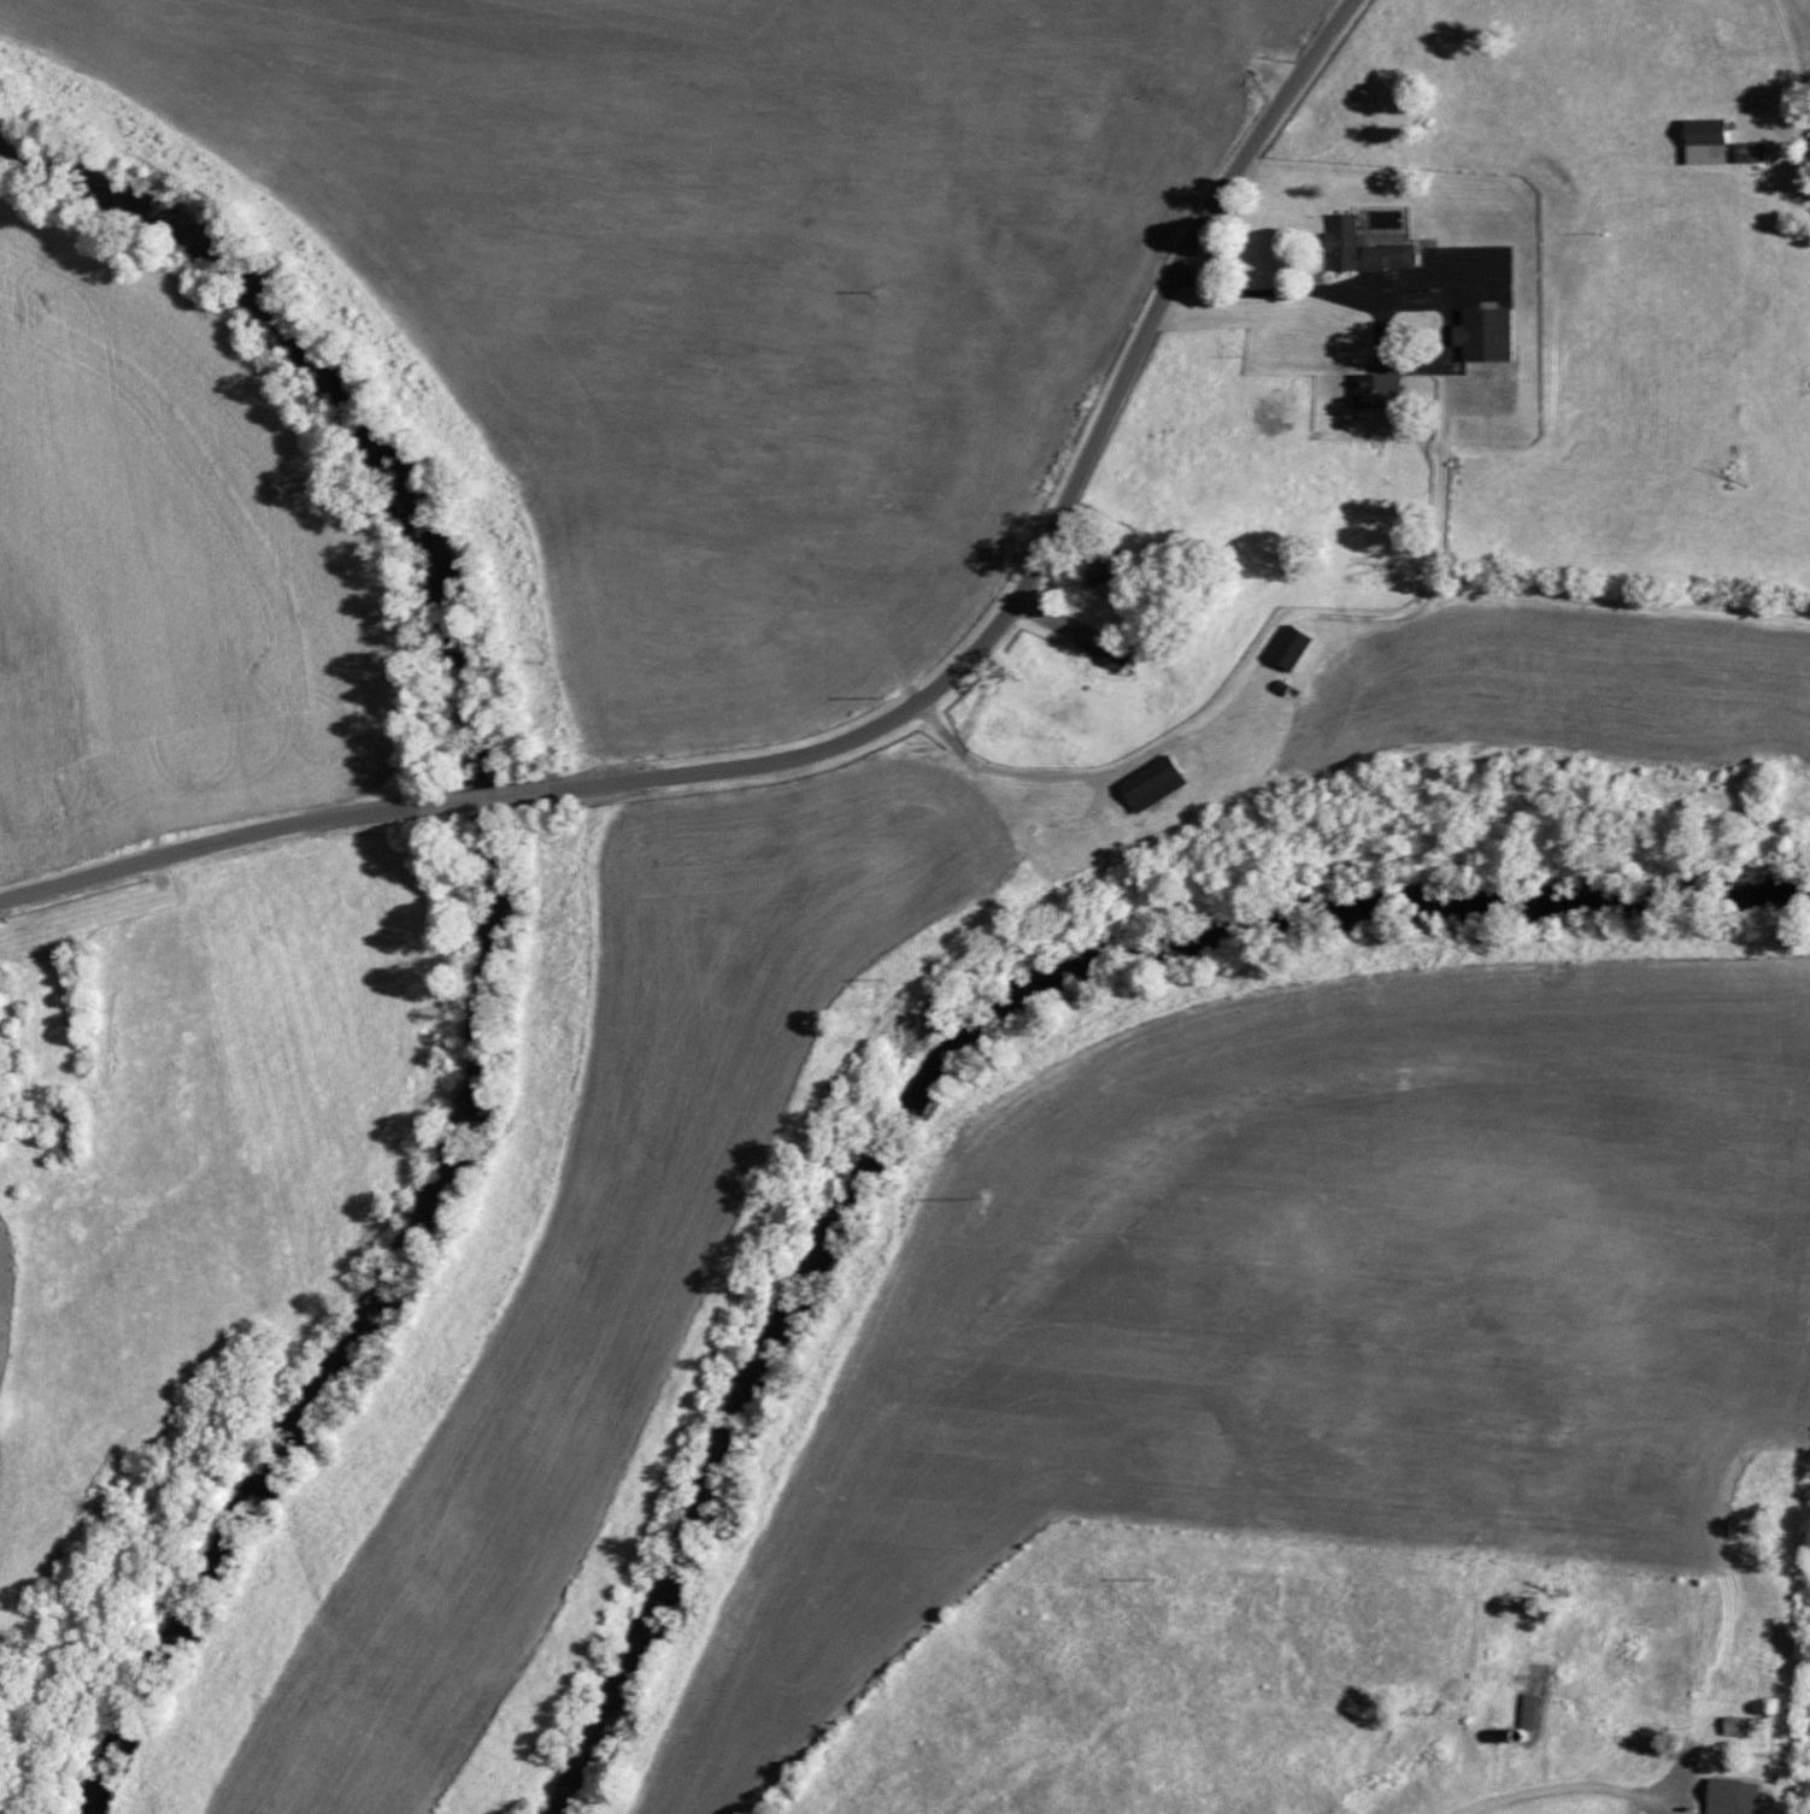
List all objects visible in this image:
building: (1703, 129)
building: (1809, 142)
building: (1747, 151)
building: (1361, 248)
building: (1481, 332)
road: (1132, 363)
building: (1374, 389)
building: (1106, 573)
building: (1288, 646)
building: (1116, 652)
road: (735, 772)
building: (1148, 782)
road: (484, 802)
road: (202, 844)
river: (503, 923)
river: (968, 1043)
building: (61, 1132)
building: (1529, 1710)
building: (1733, 1724)
building: (1727, 1796)

